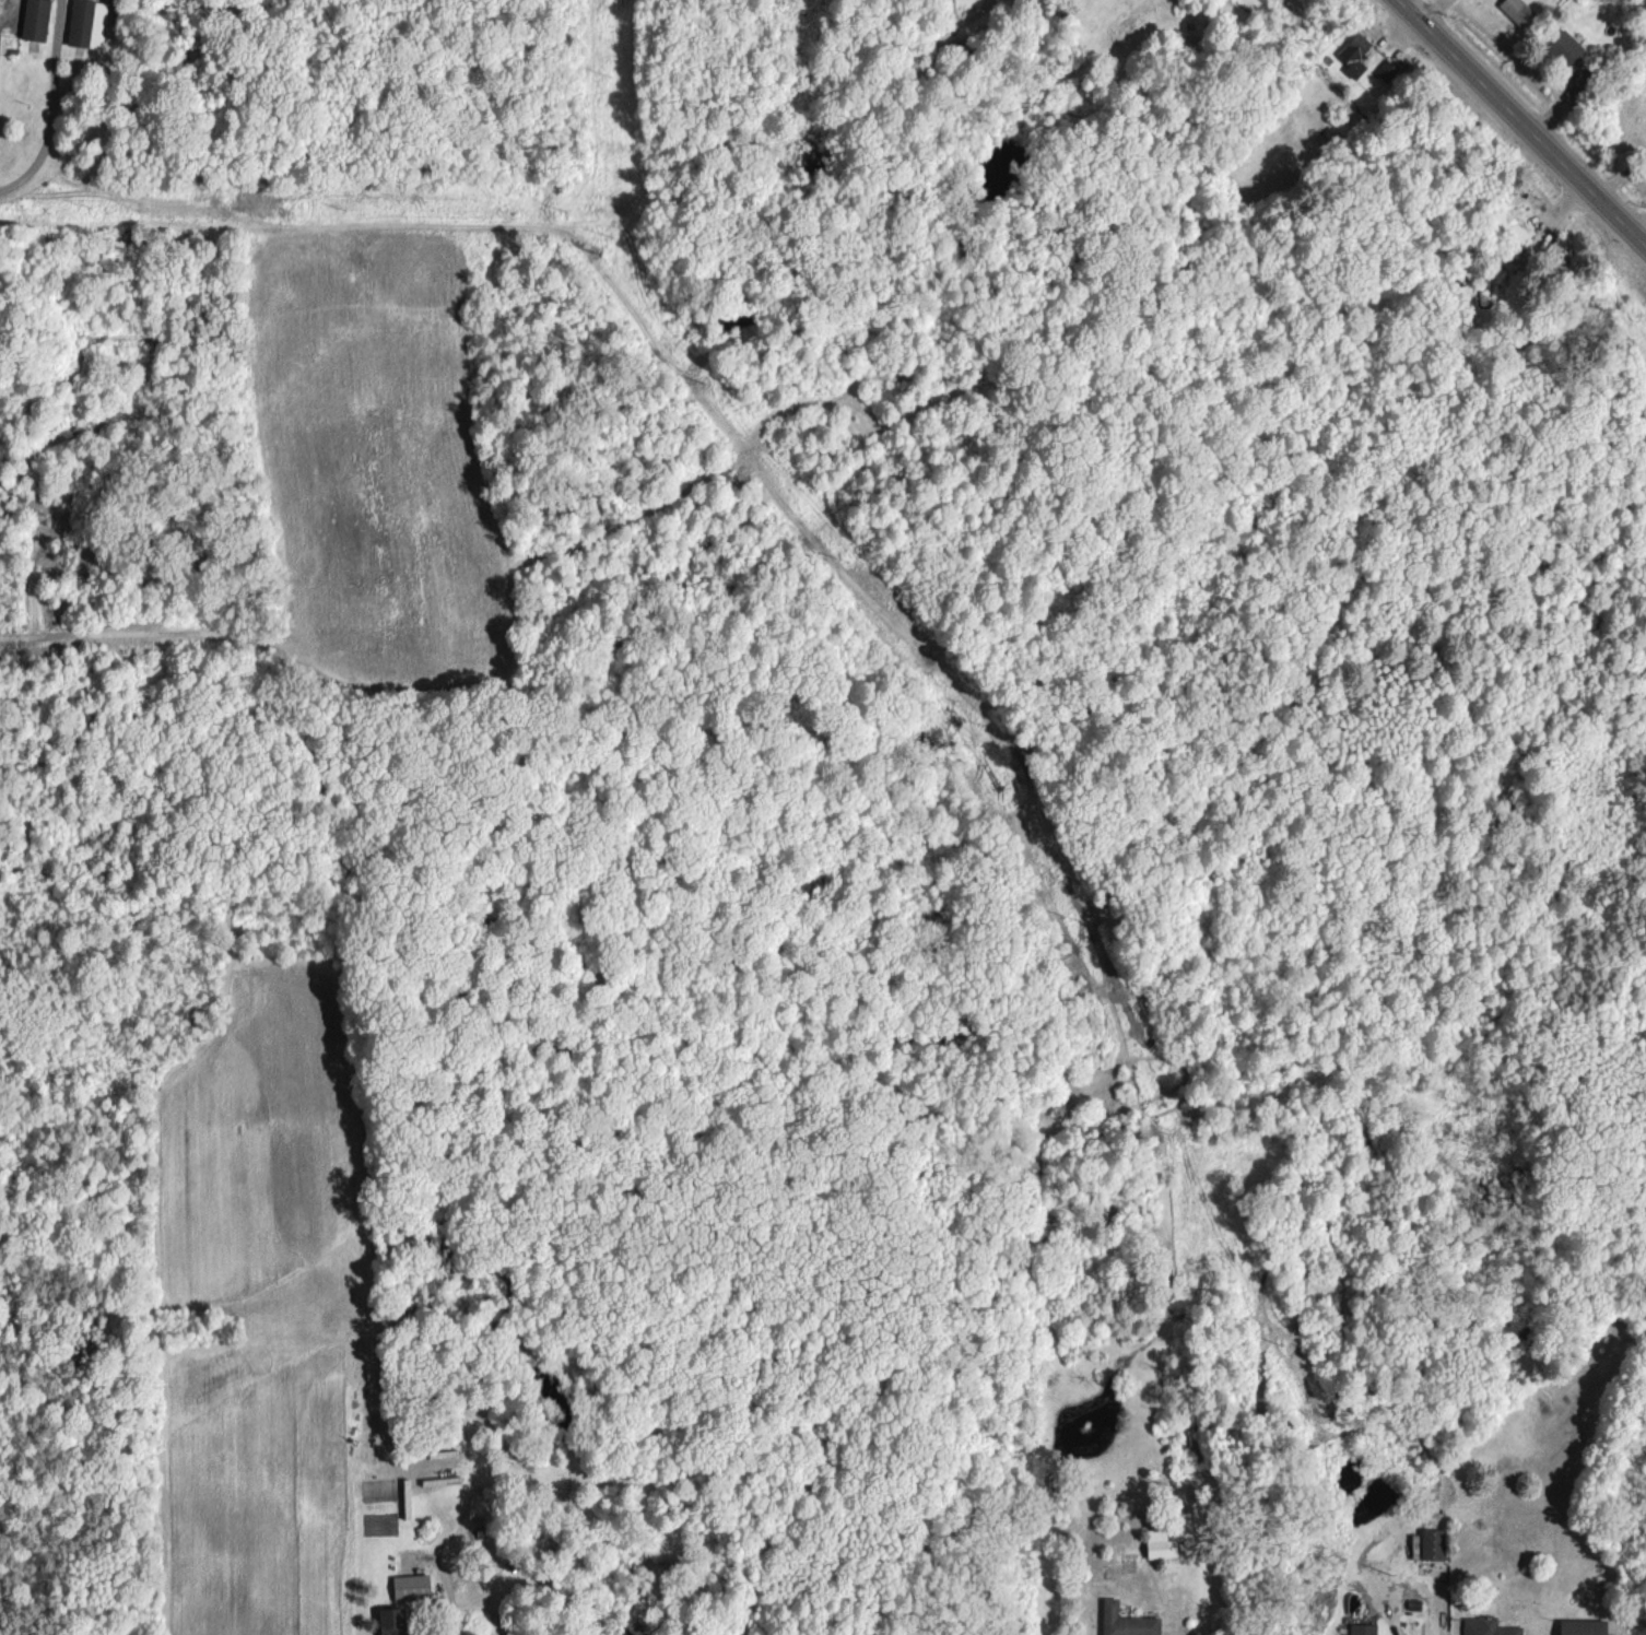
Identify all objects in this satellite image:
road: (1425, 5)
building: (1516, 10)
building: (35, 20)
building: (86, 23)
building: (1564, 50)
building: (1353, 54)
building: (1387, 74)
road: (52, 105)
road: (1525, 121)
road: (1622, 170)
road: (1641, 226)
building: (1510, 227)
building: (1431, 1542)
building: (1157, 1545)
building: (1413, 1545)
building: (410, 1587)
road: (428, 1607)
building: (388, 1620)
building: (1125, 1621)
building: (1580, 1626)
building: (1486, 1627)
building: (1361, 1628)

